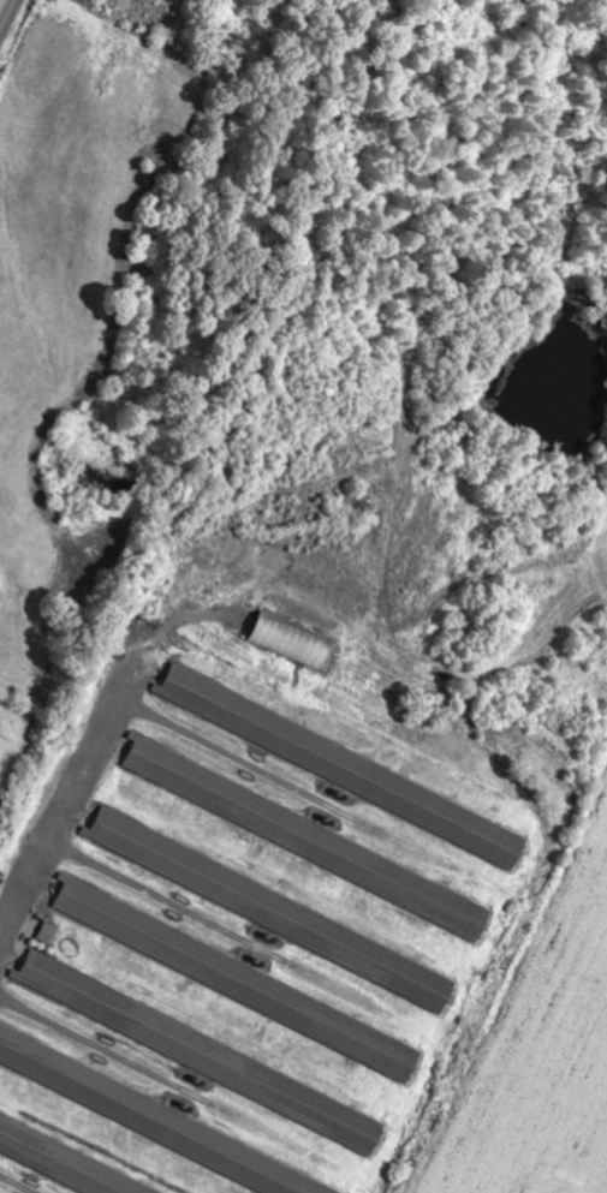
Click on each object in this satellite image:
road: (10, 18)
building: (293, 642)
building: (344, 766)
building: (203, 1052)
building: (156, 1120)

